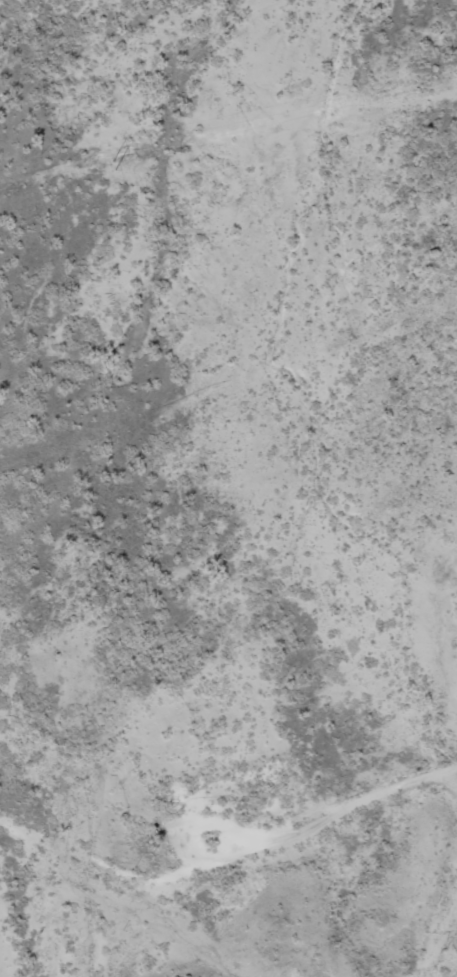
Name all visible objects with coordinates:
power tower: (110, 166)

